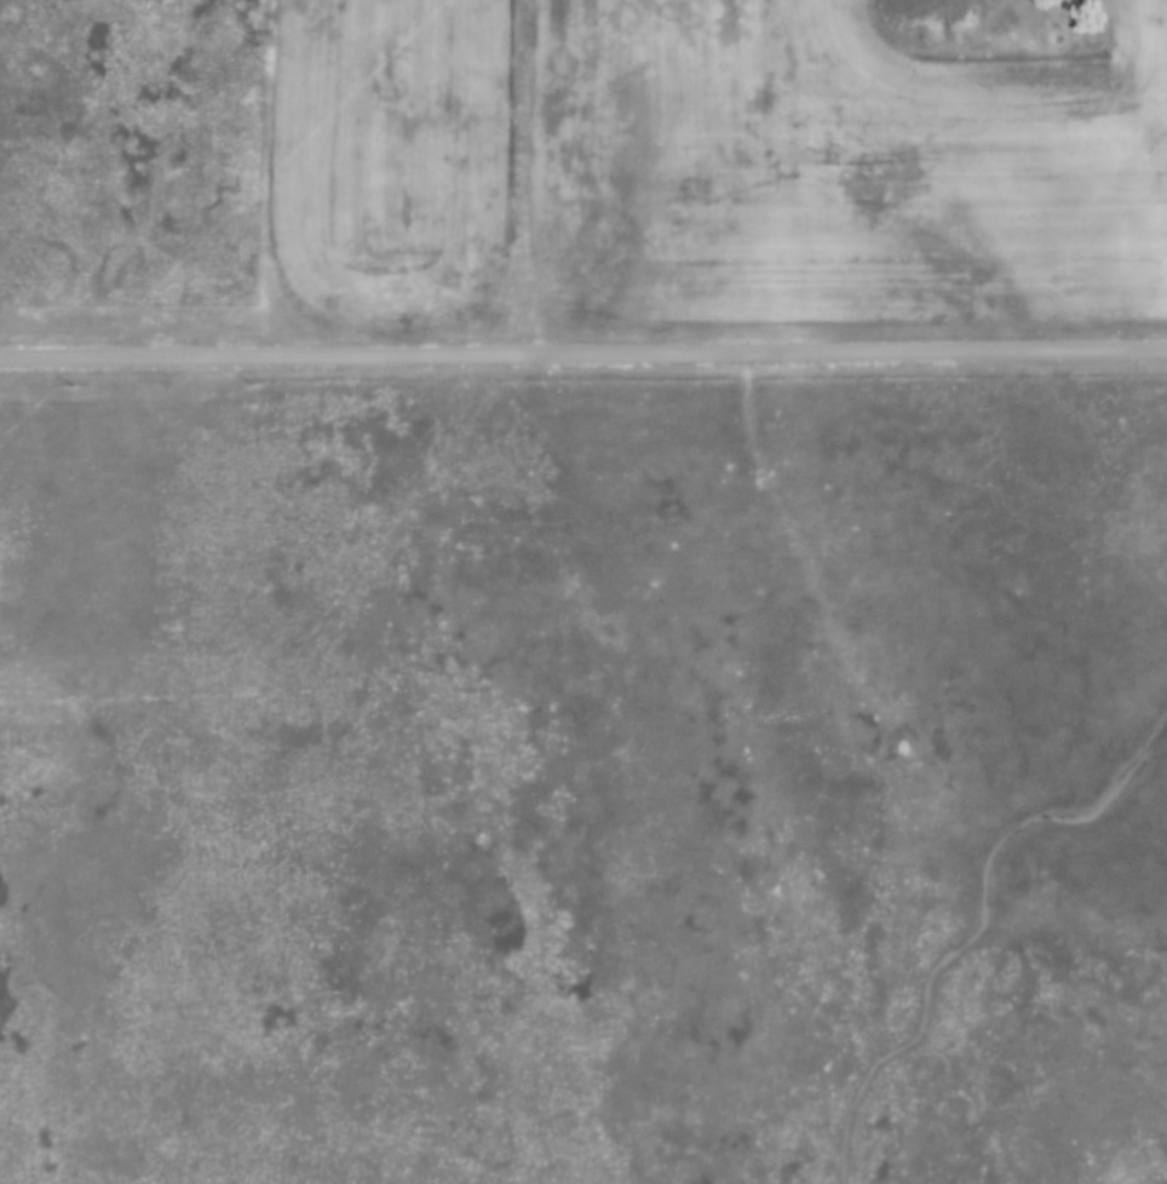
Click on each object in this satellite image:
road: (583, 357)

